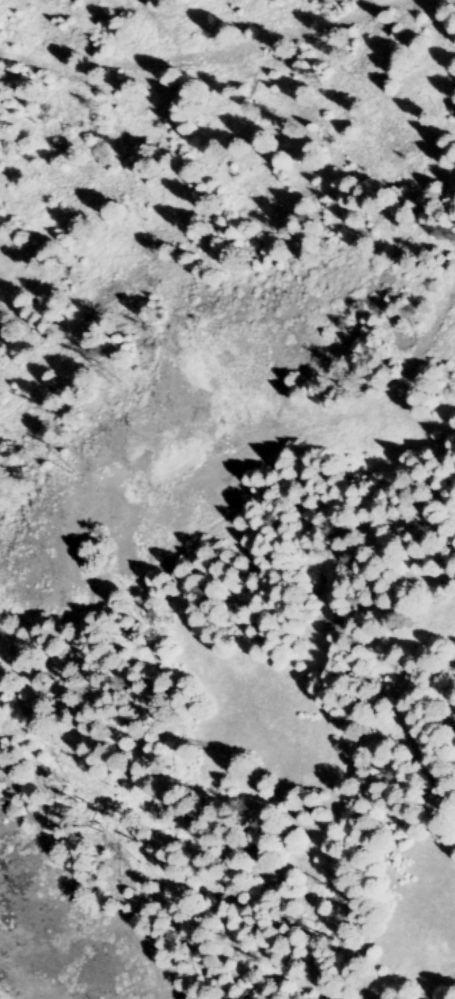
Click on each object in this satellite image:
road: (209, 523)

